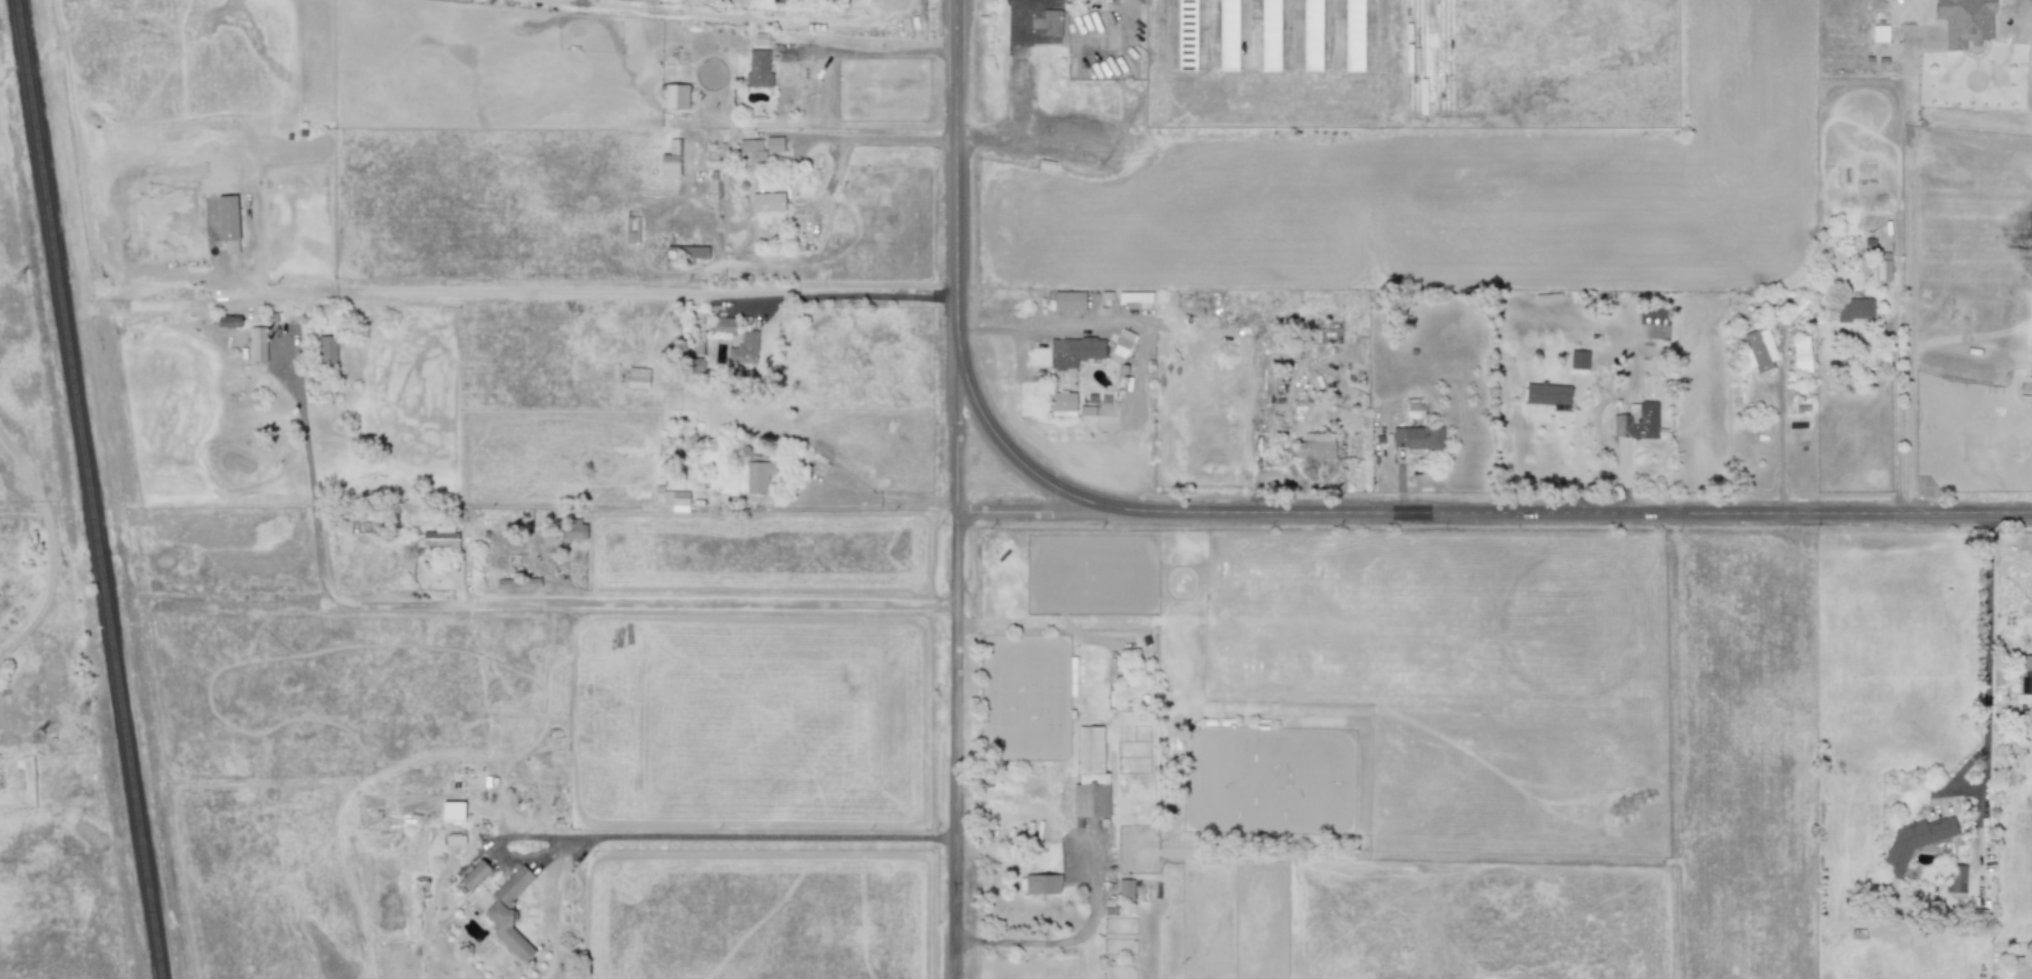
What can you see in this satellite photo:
building: (778, 1)
building: (1052, 21)
building: (1965, 21)
road: (956, 22)
building: (1880, 33)
building: (1186, 34)
building: (1227, 35)
building: (1269, 35)
building: (1311, 35)
building: (1353, 35)
building: (760, 39)
road: (868, 53)
building: (757, 69)
building: (673, 97)
road: (1014, 100)
road: (883, 142)
building: (773, 145)
building: (753, 153)
building: (670, 160)
building: (767, 202)
building: (686, 252)
building: (1882, 266)
road: (1910, 274)
road: (956, 279)
power tower: (23, 280)
road: (594, 294)
building: (1069, 301)
building: (1854, 309)
building: (720, 325)
building: (1652, 326)
road: (1034, 330)
building: (257, 344)
building: (1121, 346)
building: (743, 349)
building: (1758, 349)
building: (326, 350)
building: (1073, 351)
building: (1800, 354)
building: (1580, 359)
building: (637, 378)
building: (2026, 390)
building: (1547, 395)
building: (1062, 404)
road: (1895, 416)
building: (1636, 421)
building: (1416, 437)
road: (1000, 441)
road: (1785, 445)
building: (1314, 447)
road: (1576, 454)
road: (311, 473)
building: (758, 476)
railway: (91, 489)
building: (675, 500)
road: (878, 504)
road: (1032, 514)
road: (1569, 514)
building: (572, 530)
building: (440, 536)
road: (49, 546)
road: (643, 607)
road: (1988, 643)
building: (2024, 675)
power tower: (81, 714)
power tower: (39, 720)
road: (956, 746)
building: (1090, 775)
building: (452, 811)
building: (454, 839)
road: (747, 840)
building: (1914, 841)
building: (475, 876)
road: (1092, 880)
building: (1957, 881)
building: (1039, 884)
building: (1125, 889)
building: (508, 897)
building: (2022, 969)

